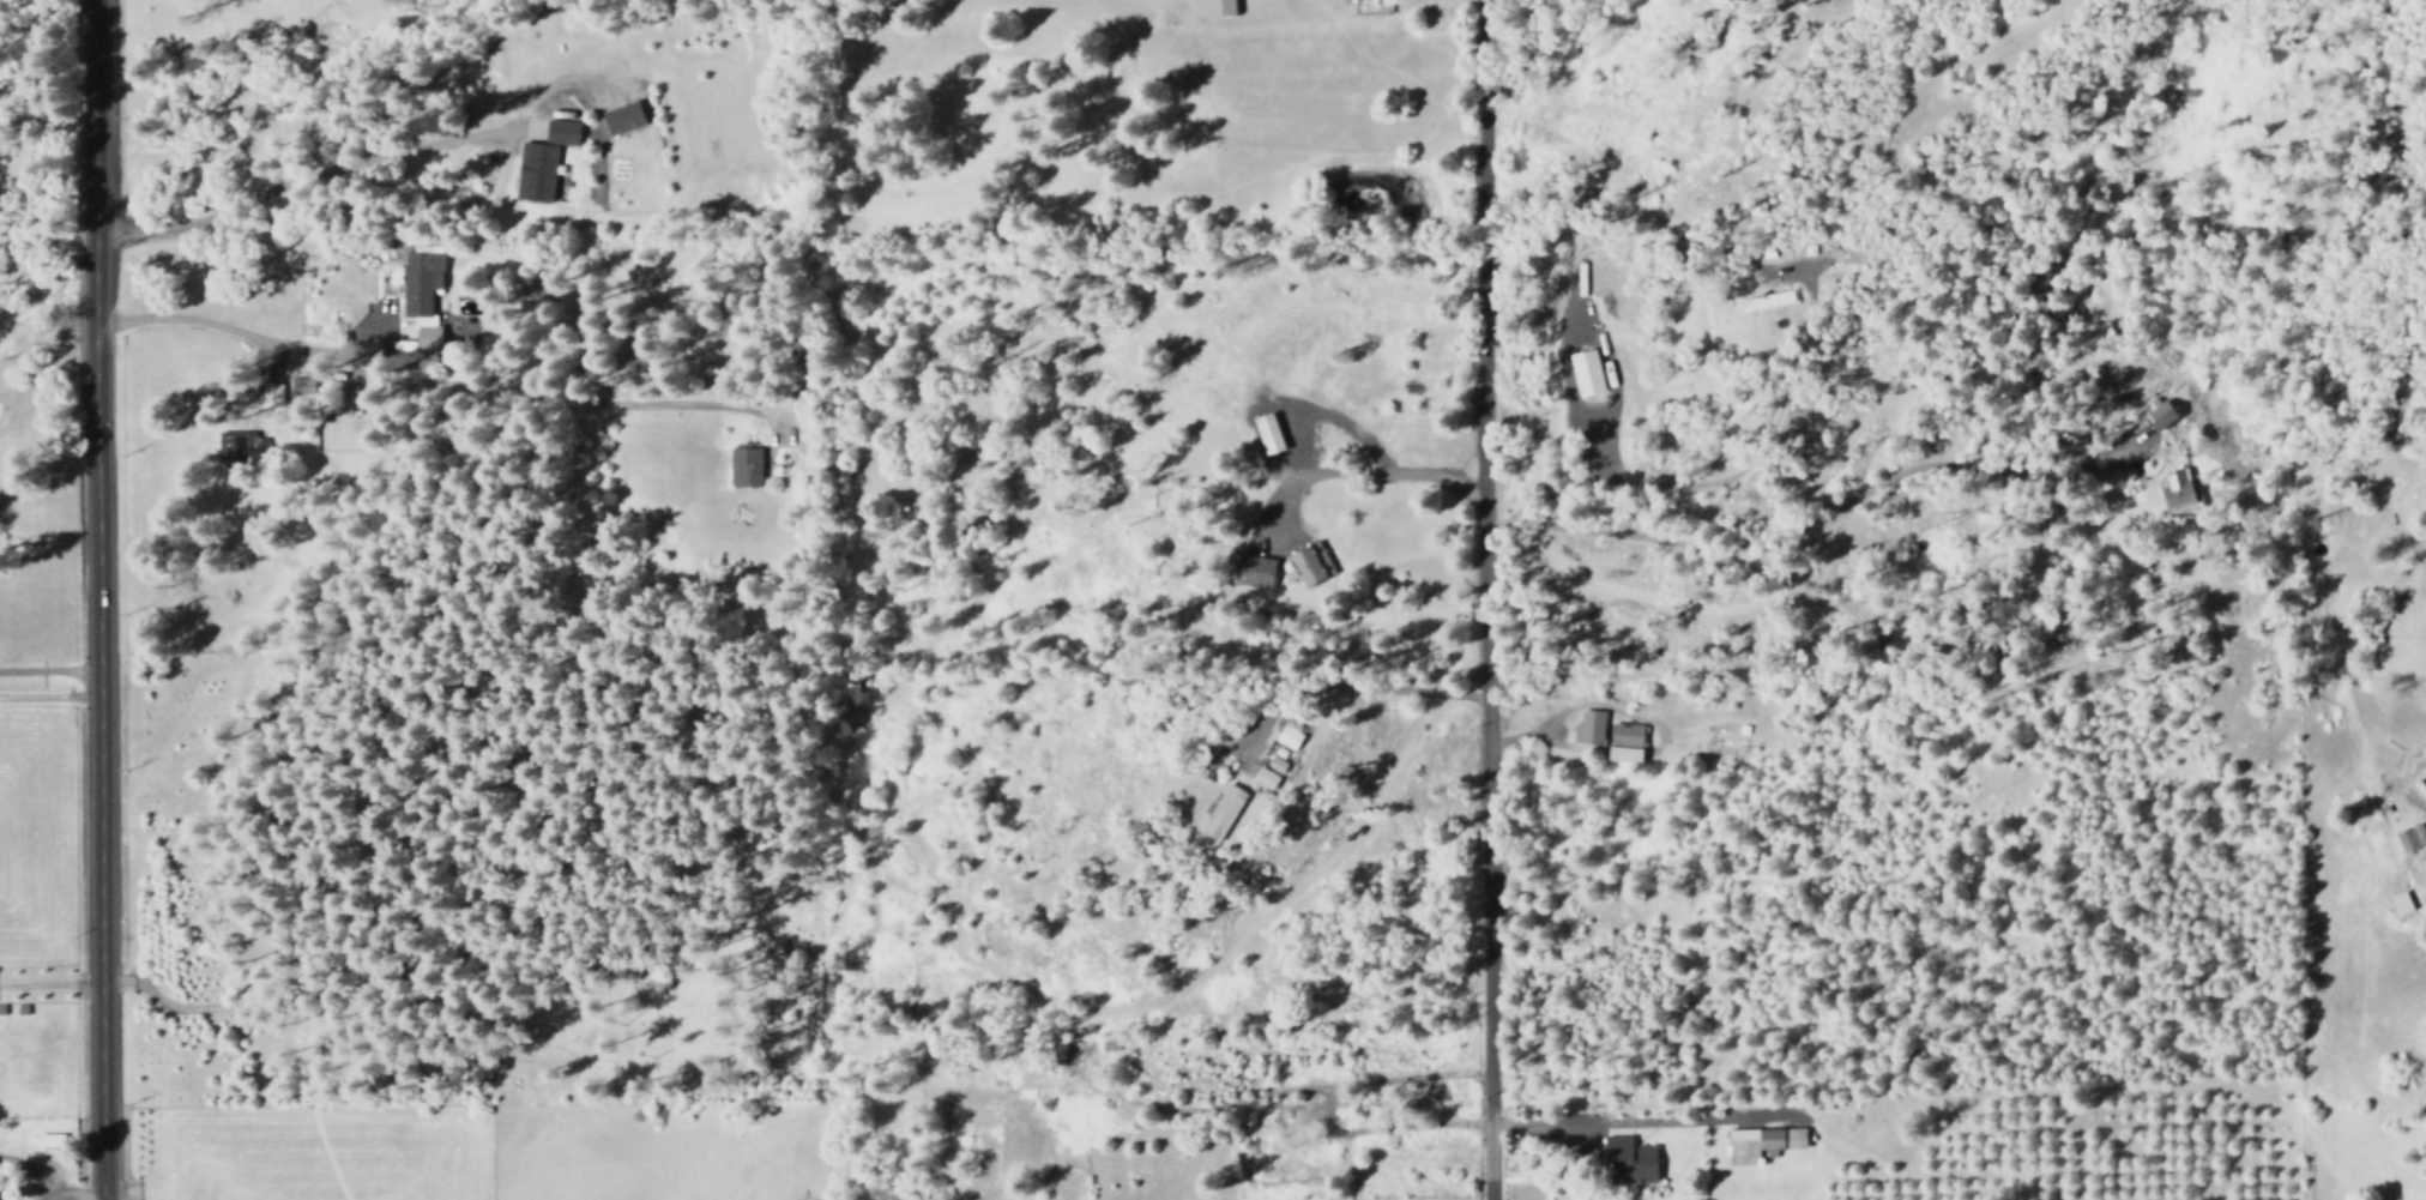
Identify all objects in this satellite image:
building: (1214, 7)
building: (624, 117)
building: (562, 132)
building: (536, 171)
building: (1854, 258)
building: (1773, 285)
building: (1768, 301)
building: (1588, 373)
road: (436, 385)
building: (302, 386)
building: (2160, 412)
building: (1271, 434)
building: (241, 446)
building: (748, 465)
building: (2179, 489)
road: (1529, 503)
road: (1810, 529)
building: (1310, 568)
building: (1256, 571)
road: (96, 599)
road: (1484, 599)
road: (48, 671)
road: (49, 699)
building: (1589, 729)
building: (1627, 735)
building: (1296, 740)
building: (1627, 755)
building: (1286, 766)
building: (1274, 779)
road: (2419, 803)
building: (1232, 814)
building: (2412, 838)
building: (2402, 904)
building: (1305, 1111)
road: (1640, 1120)
building: (49, 1141)
building: (1764, 1142)
building: (1631, 1162)
building: (1289, 1165)

